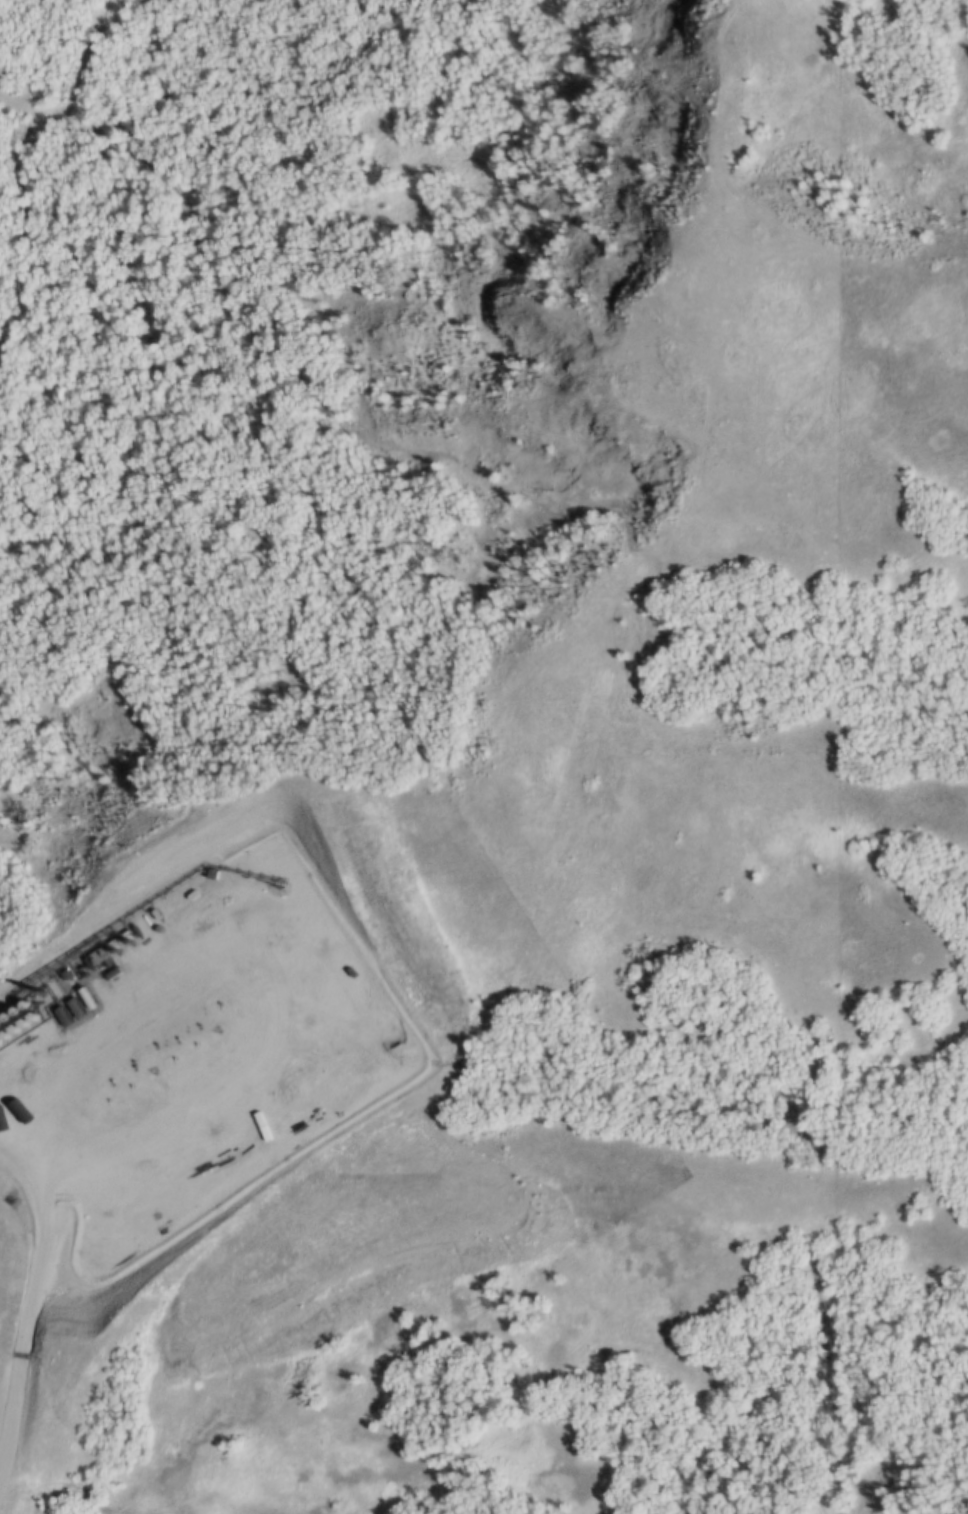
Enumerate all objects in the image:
building: (23, 1005)
storage tank: (23, 1005)
building: (13, 1010)
storage tank: (13, 1010)
building: (4, 1016)
storage tank: (4, 1016)
building: (32, 1017)
storage tank: (32, 1017)
building: (21, 1022)
storage tank: (21, 1022)
building: (12, 1029)
storage tank: (12, 1029)
building: (3, 1035)
storage tank: (3, 1035)
petroleum well: (221, 1037)
petroleum well: (157, 1081)
road: (14, 1327)

